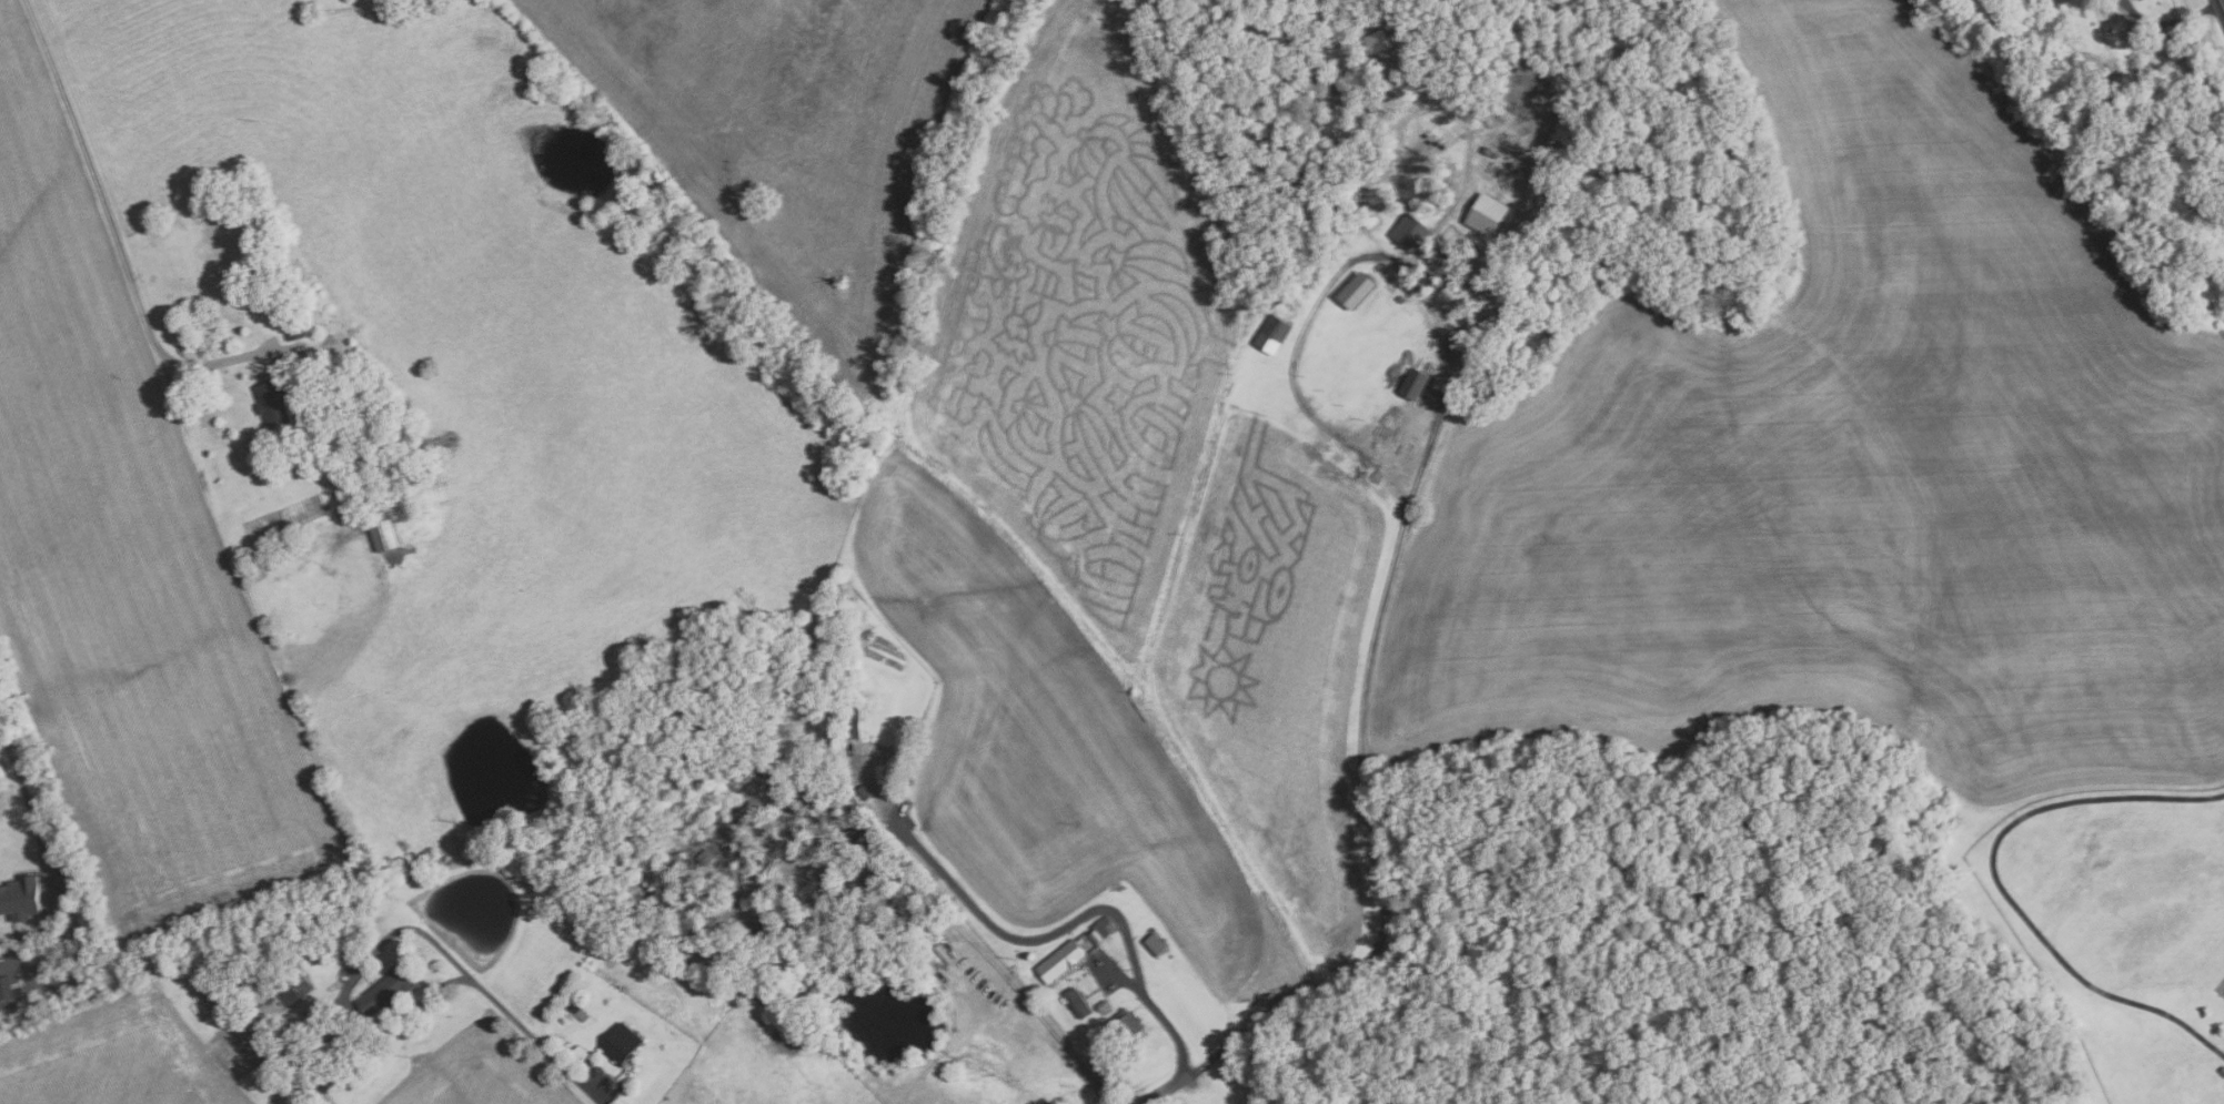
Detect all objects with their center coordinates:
building: (2106, 8)
road: (2170, 22)
building: (1377, 42)
road: (94, 168)
building: (2220, 192)
building: (2195, 197)
building: (1486, 215)
building: (1409, 233)
building: (1421, 277)
building: (1355, 292)
building: (1400, 298)
building: (296, 328)
building: (1271, 335)
road: (220, 359)
building: (1413, 385)
building: (279, 398)
building: (340, 473)
building: (385, 528)
road: (1399, 535)
crop: (130, 577)
building: (836, 617)
building: (797, 702)
building: (852, 721)
road: (18, 770)
building: (735, 783)
building: (784, 789)
building: (865, 792)
building: (744, 793)
building: (796, 793)
building: (843, 809)
building: (851, 826)
building: (705, 858)
building: (652, 878)
road: (1999, 884)
building: (23, 898)
building: (838, 913)
building: (1101, 929)
road: (1000, 933)
building: (759, 935)
building: (1154, 943)
building: (1059, 960)
building: (7, 986)
park: (2220, 986)
building: (391, 989)
building: (295, 990)
building: (1075, 1002)
building: (1101, 1005)
building: (577, 1010)
road: (507, 1014)
road: (359, 1015)
building: (563, 1020)
building: (1128, 1025)
road: (1170, 1027)
building: (242, 1042)
building: (621, 1042)
building: (578, 1053)
building: (2222, 1070)
road: (1164, 1088)
building: (322, 1098)

